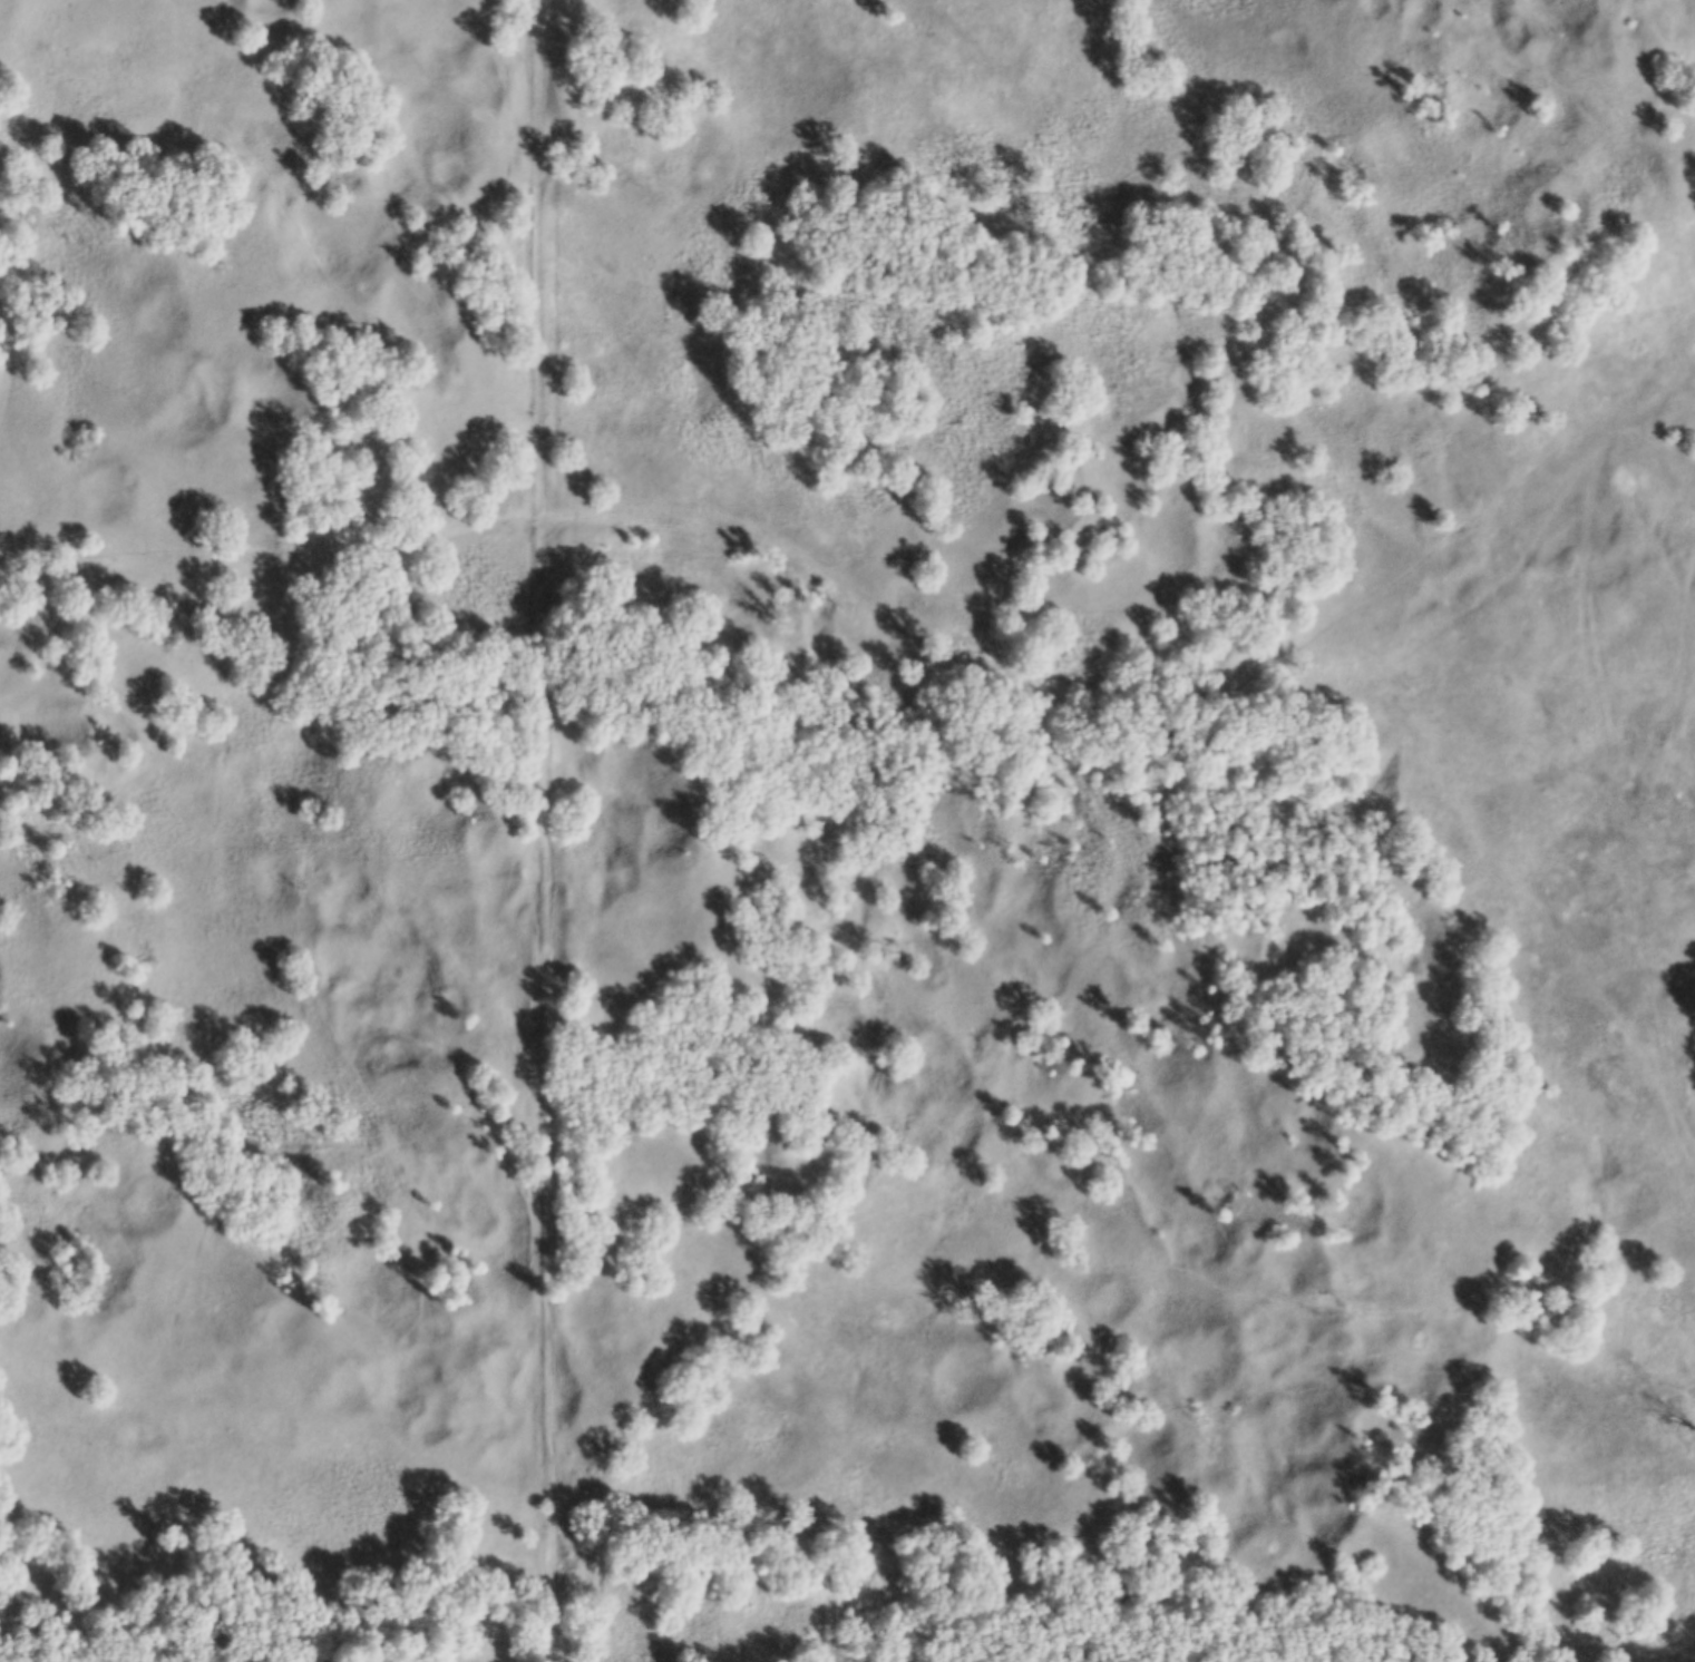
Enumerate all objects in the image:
road: (1113, 1591)
road: (1683, 1656)
road: (1603, 1661)

